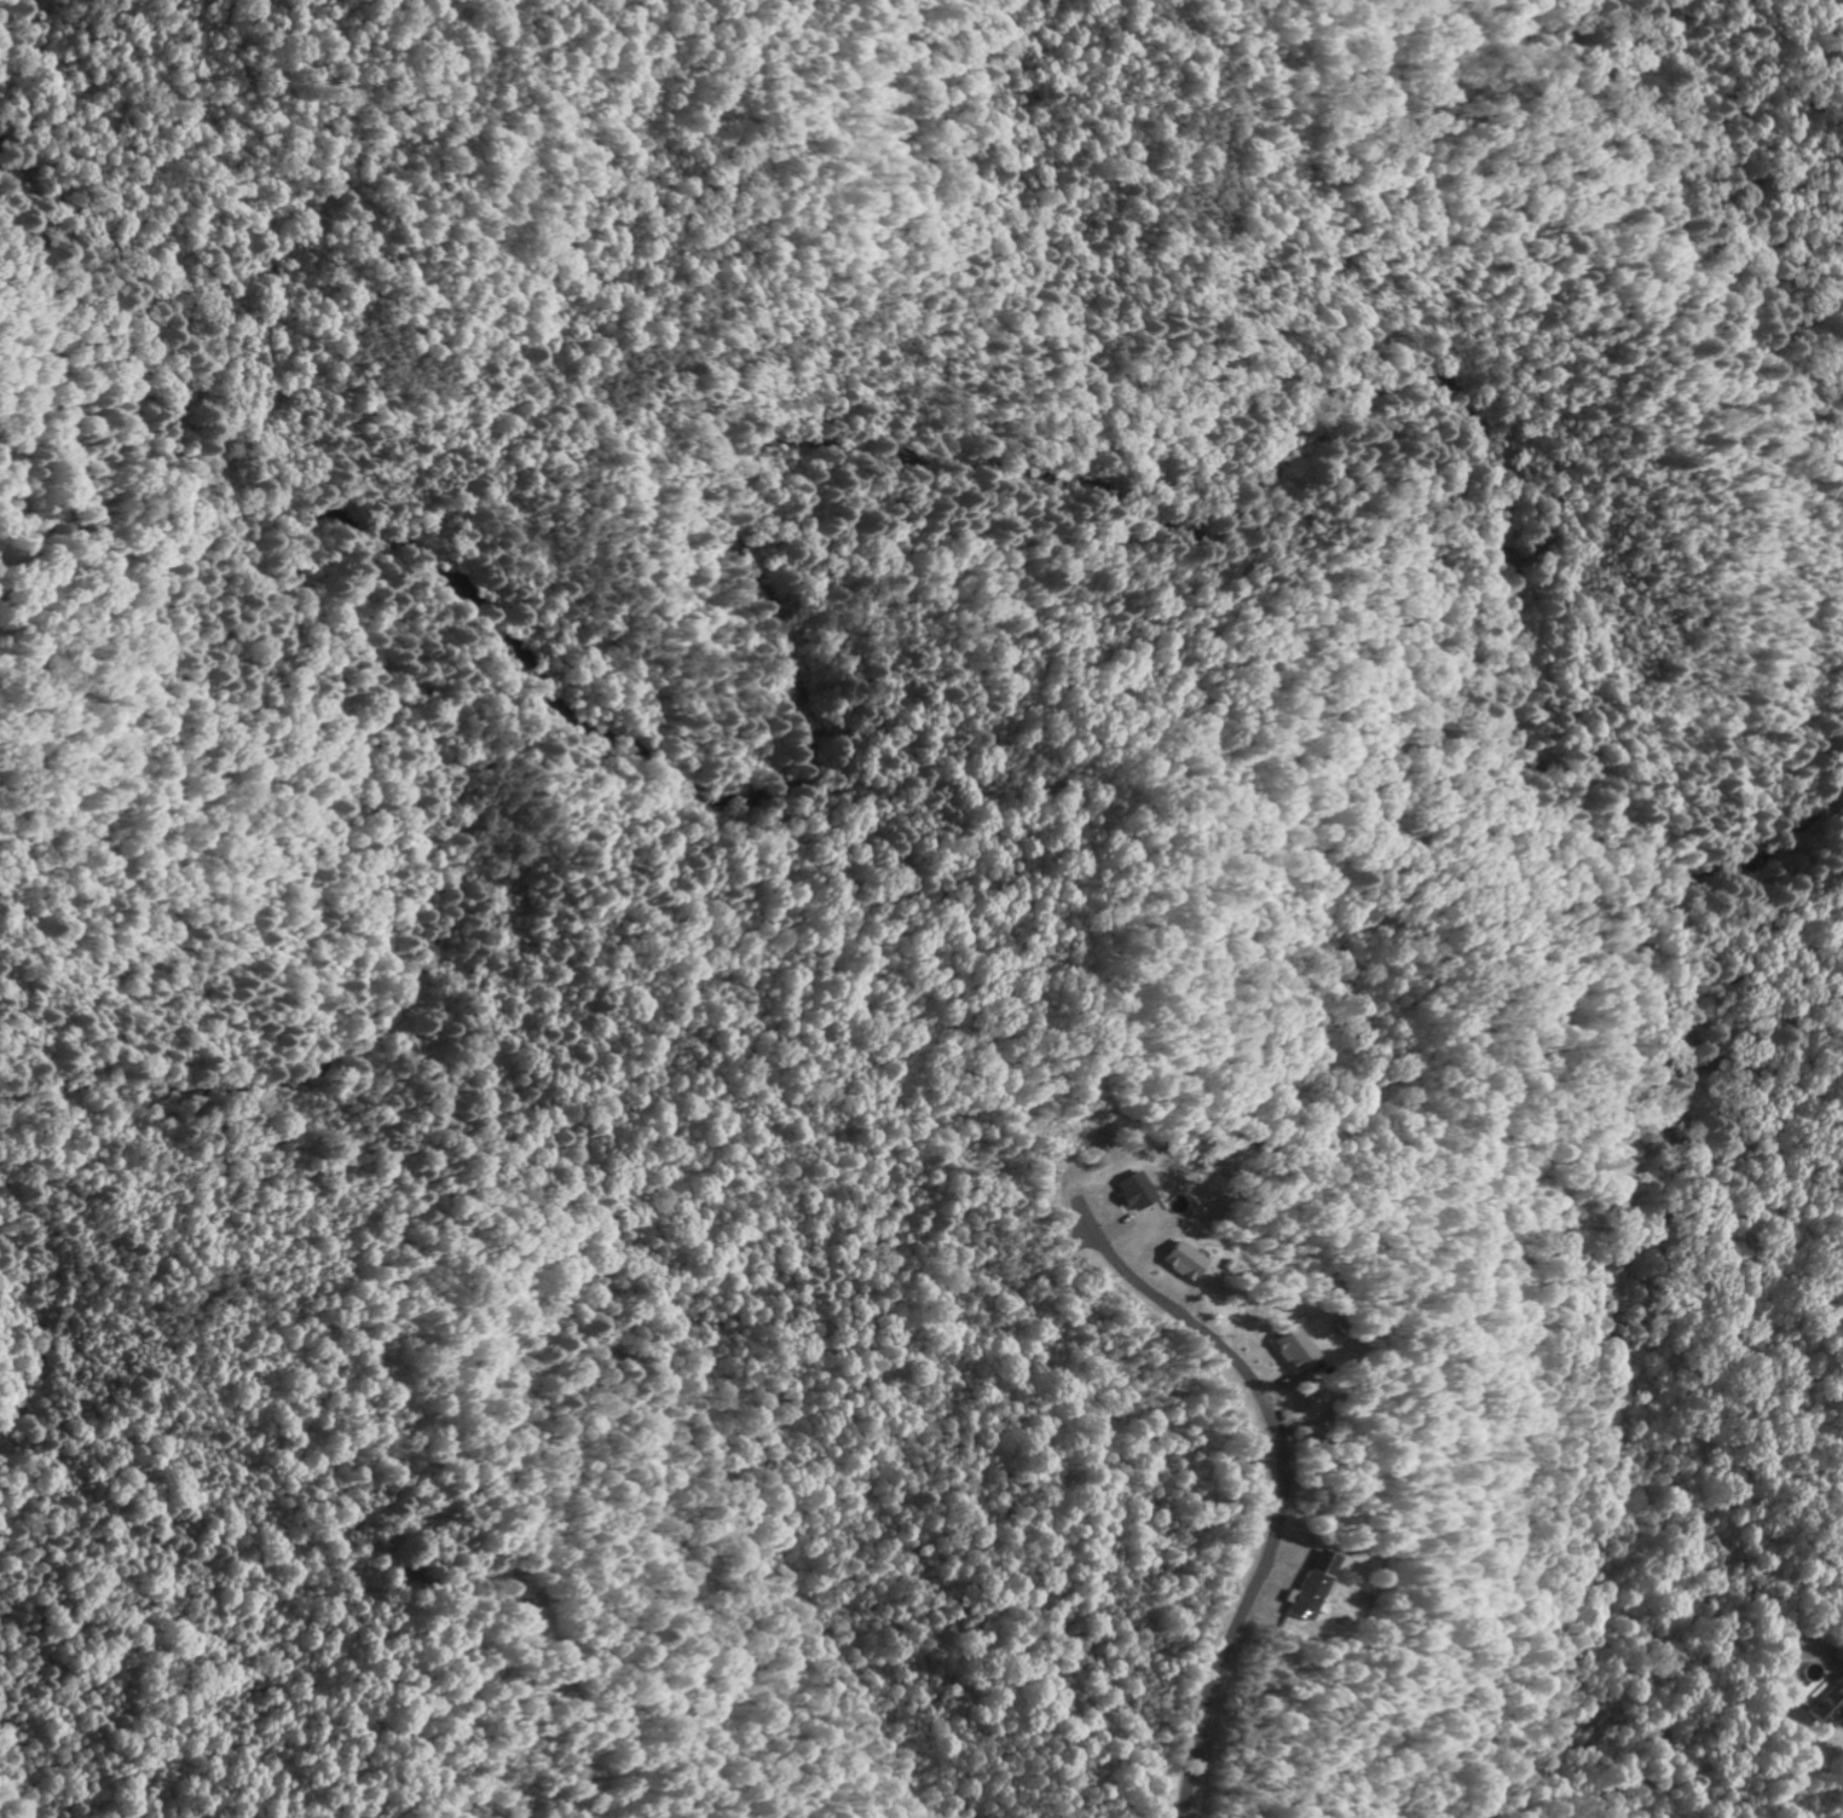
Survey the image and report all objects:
building: (1125, 1194)
building: (1175, 1263)
building: (1279, 1351)
road: (1277, 1456)
building: (1301, 1586)
building: (1826, 1708)

